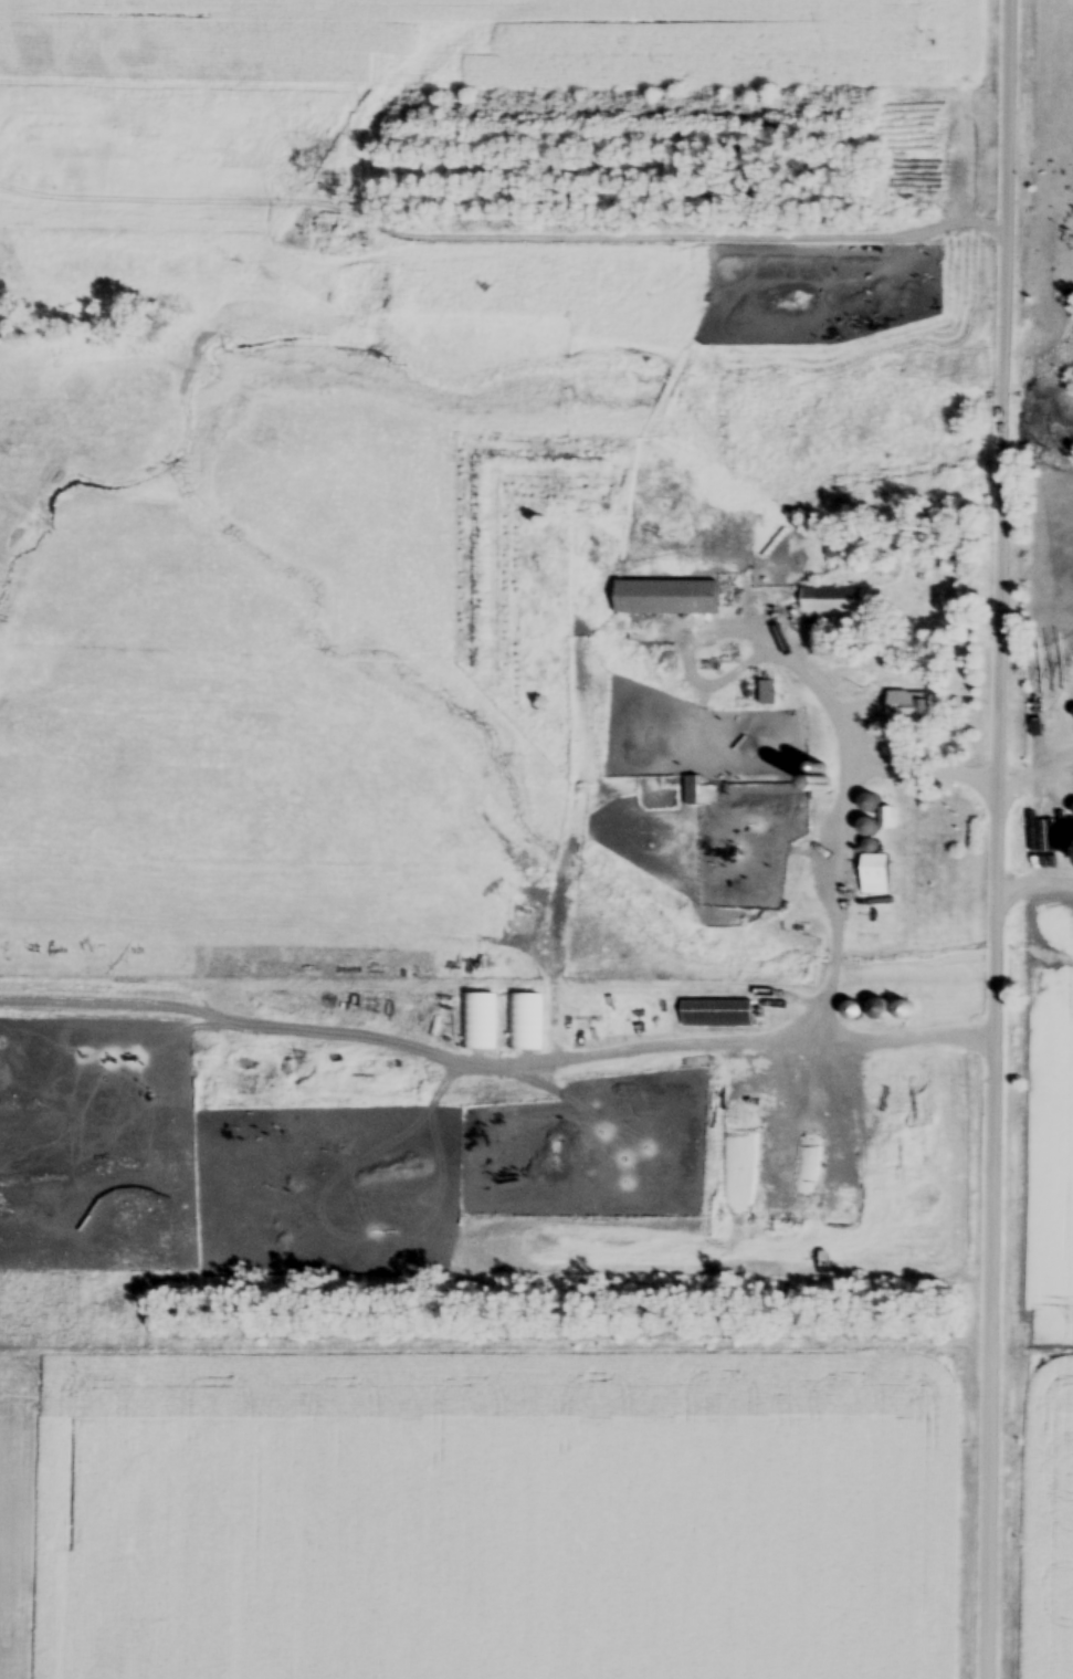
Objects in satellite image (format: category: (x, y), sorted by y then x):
building: (664, 601)
building: (831, 604)
road: (746, 637)
building: (903, 710)
road: (1038, 781)
building: (691, 793)
road: (999, 839)
building: (874, 877)
road: (1034, 896)
road: (841, 920)
building: (900, 1012)
building: (716, 1016)
building: (478, 1025)
building: (525, 1025)
road: (650, 1056)
building: (812, 1100)

